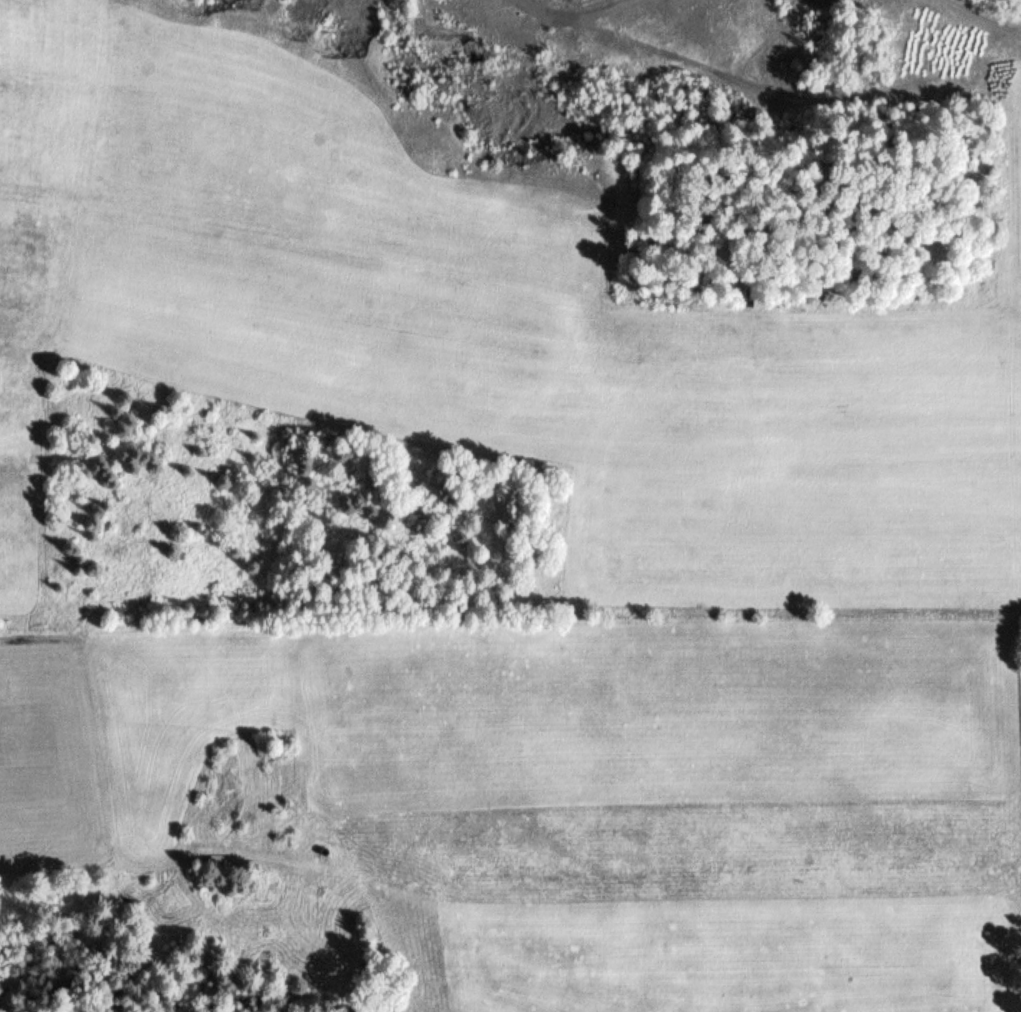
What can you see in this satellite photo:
road: (253, 643)

